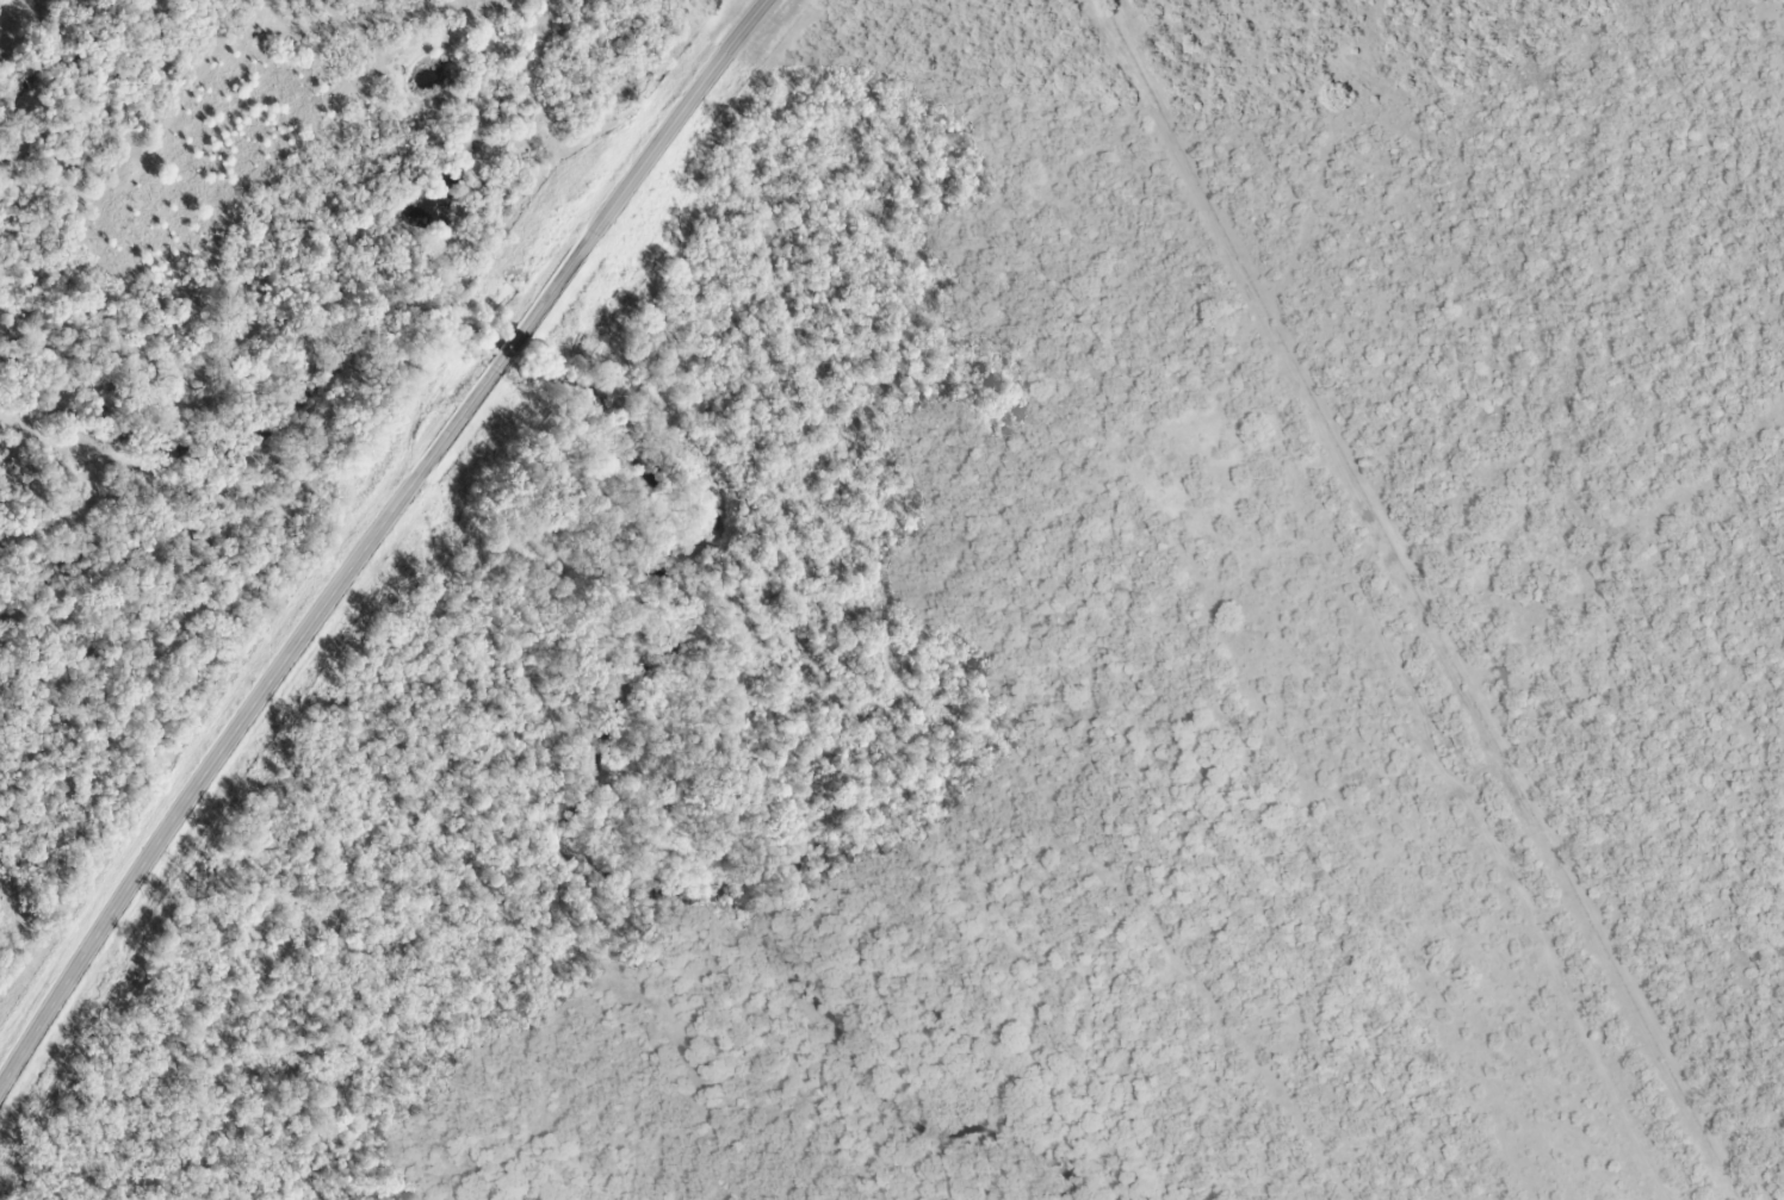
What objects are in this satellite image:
road: (642, 163)
road: (506, 352)
road: (239, 725)

